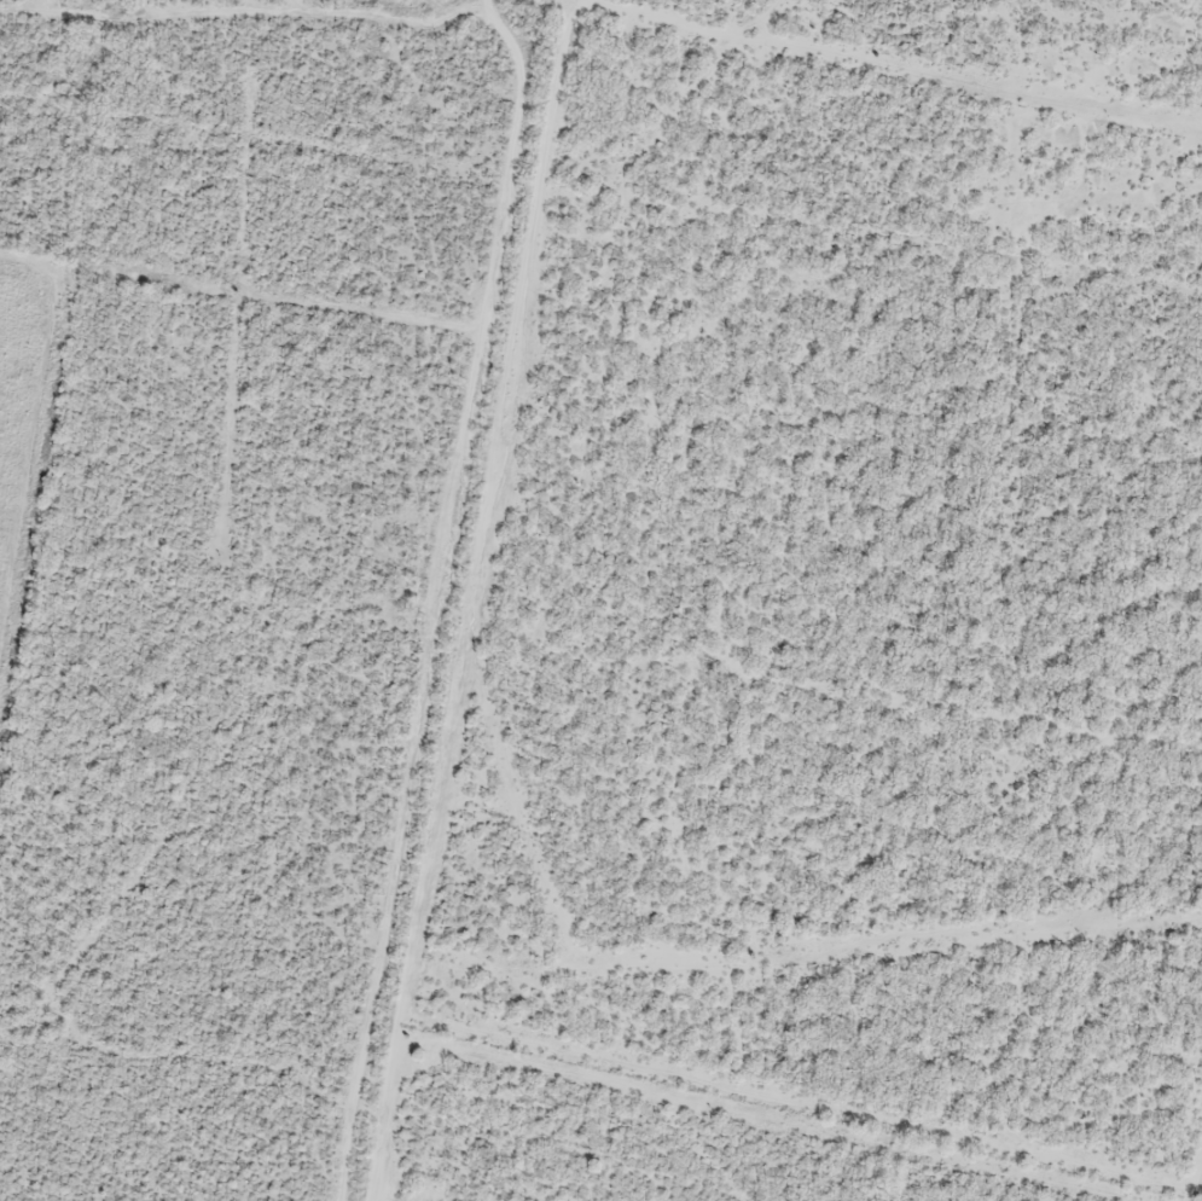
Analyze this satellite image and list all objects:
road: (68, 436)

